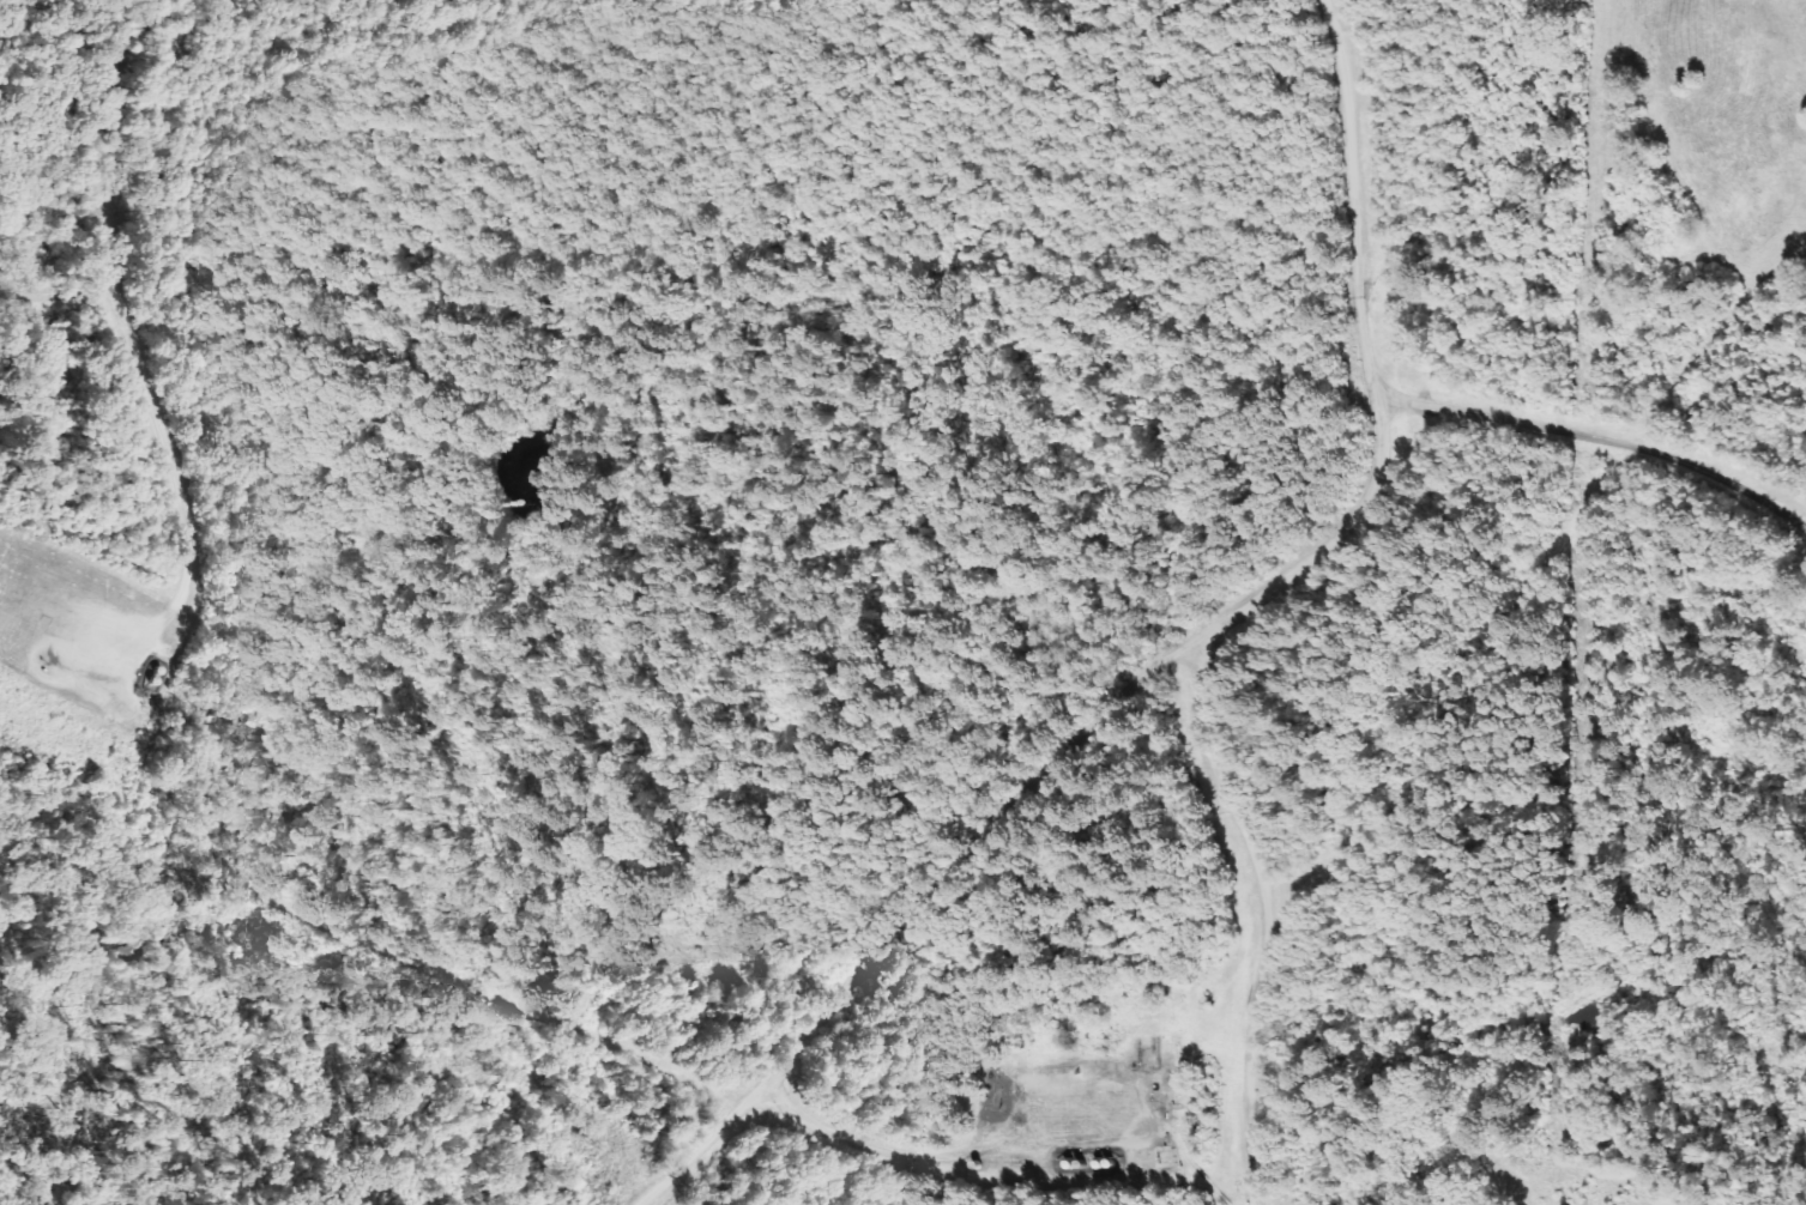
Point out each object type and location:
road: (1345, 147)
road: (113, 208)
road: (1595, 436)
road: (1045, 756)
road: (1261, 910)
road: (936, 1152)

